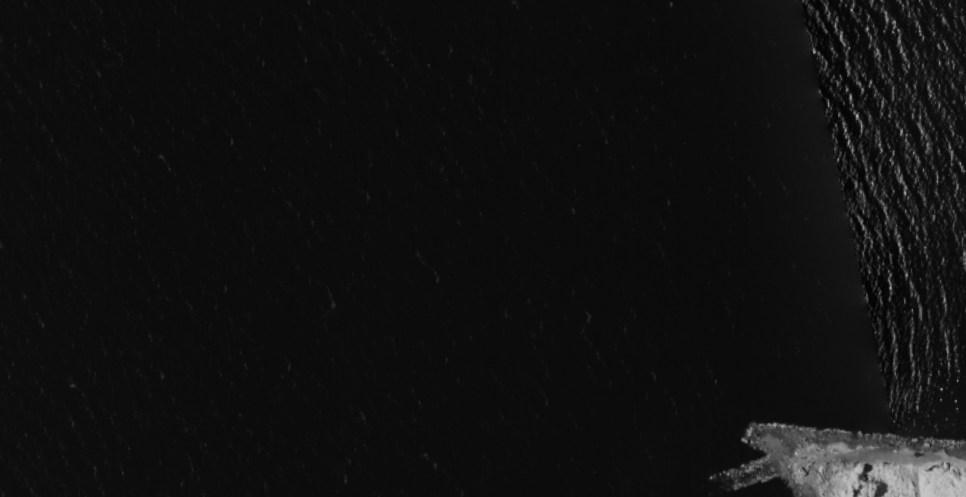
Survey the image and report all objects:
road: (941, 456)
road: (857, 459)
park: (850, 466)
building: (800, 472)
road: (918, 480)

